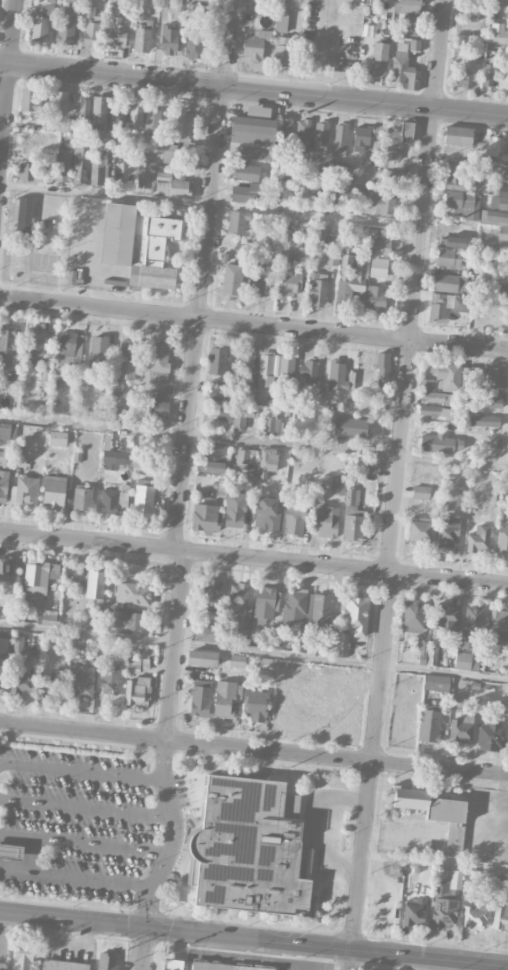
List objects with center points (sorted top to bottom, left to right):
building: (155, 0)
road: (501, 0)
building: (73, 1)
building: (281, 1)
building: (50, 4)
building: (194, 10)
building: (469, 13)
building: (409, 17)
building: (281, 20)
building: (91, 26)
building: (39, 27)
building: (65, 31)
building: (499, 32)
building: (142, 35)
building: (117, 36)
building: (169, 40)
building: (415, 44)
building: (253, 45)
building: (194, 46)
building: (281, 51)
road: (439, 54)
building: (378, 58)
building: (403, 70)
building: (488, 76)
building: (503, 77)
building: (463, 78)
road: (8, 82)
road: (254, 88)
building: (26, 97)
building: (59, 102)
building: (83, 108)
building: (99, 112)
building: (117, 113)
building: (135, 116)
building: (152, 121)
building: (67, 125)
building: (183, 126)
building: (285, 128)
building: (251, 132)
building: (302, 134)
building: (361, 135)
building: (320, 136)
building: (458, 136)
building: (340, 138)
building: (395, 141)
building: (52, 144)
building: (30, 146)
building: (491, 147)
building: (168, 151)
building: (507, 153)
building: (72, 164)
building: (26, 171)
building: (98, 171)
building: (339, 171)
building: (475, 172)
building: (500, 174)
building: (456, 177)
building: (162, 180)
building: (245, 184)
building: (278, 187)
building: (303, 190)
building: (356, 190)
building: (331, 193)
building: (498, 200)
building: (382, 203)
building: (463, 203)
building: (26, 205)
road: (210, 205)
road: (208, 216)
building: (238, 221)
building: (503, 233)
building: (319, 235)
building: (379, 243)
building: (138, 245)
building: (300, 253)
building: (448, 257)
building: (332, 258)
building: (232, 279)
building: (351, 279)
building: (492, 279)
building: (288, 280)
building: (257, 281)
building: (449, 282)
building: (316, 289)
building: (375, 298)
building: (445, 305)
building: (500, 318)
road: (254, 324)
road: (410, 339)
building: (8, 345)
building: (35, 345)
building: (69, 347)
building: (98, 349)
building: (126, 359)
building: (217, 360)
building: (158, 361)
building: (247, 362)
building: (286, 367)
building: (382, 367)
building: (265, 368)
building: (308, 370)
building: (337, 374)
building: (467, 376)
building: (447, 377)
building: (495, 377)
building: (429, 385)
building: (100, 387)
building: (216, 393)
building: (437, 397)
building: (491, 403)
building: (158, 404)
building: (435, 411)
building: (226, 414)
building: (243, 416)
building: (484, 420)
building: (271, 423)
road: (93, 425)
building: (5, 431)
road: (187, 435)
building: (59, 438)
building: (438, 440)
road: (506, 448)
road: (347, 452)
building: (2, 456)
building: (212, 458)
building: (246, 458)
building: (267, 459)
building: (112, 460)
building: (368, 463)
building: (143, 466)
building: (338, 484)
building: (3, 485)
building: (25, 490)
building: (54, 492)
building: (420, 492)
road: (181, 493)
building: (84, 499)
building: (144, 499)
building: (109, 501)
building: (234, 510)
building: (266, 513)
building: (204, 515)
building: (352, 515)
building: (327, 520)
building: (293, 521)
building: (420, 530)
building: (448, 534)
building: (502, 538)
building: (478, 540)
road: (254, 557)
building: (6, 569)
building: (39, 577)
building: (95, 585)
building: (212, 590)
building: (131, 595)
building: (240, 600)
building: (267, 603)
building: (307, 609)
building: (412, 615)
building: (48, 617)
building: (445, 618)
building: (129, 620)
building: (352, 620)
building: (474, 627)
building: (498, 628)
building: (205, 632)
building: (5, 645)
road: (176, 645)
building: (105, 646)
building: (423, 652)
road: (253, 653)
building: (202, 657)
building: (237, 660)
building: (466, 660)
building: (266, 664)
building: (21, 679)
building: (110, 680)
building: (436, 682)
building: (49, 684)
building: (81, 684)
building: (137, 691)
building: (200, 697)
building: (226, 699)
building: (321, 699)
building: (255, 705)
building: (429, 725)
building: (460, 729)
building: (490, 735)
road: (254, 749)
road: (372, 762)
road: (81, 771)
building: (436, 814)
road: (173, 836)
building: (427, 848)
building: (10, 850)
gas station: (10, 850)
building: (252, 850)
road: (435, 865)
building: (411, 876)
road: (75, 878)
building: (503, 882)
building: (445, 905)
building: (413, 911)
building: (500, 915)
building: (473, 916)
road: (73, 920)
traffic signals: (146, 928)
road: (182, 932)
road: (144, 949)
road: (362, 953)
building: (22, 958)
building: (106, 961)
road: (350, 961)
building: (173, 964)
building: (63, 965)
building: (225, 966)

